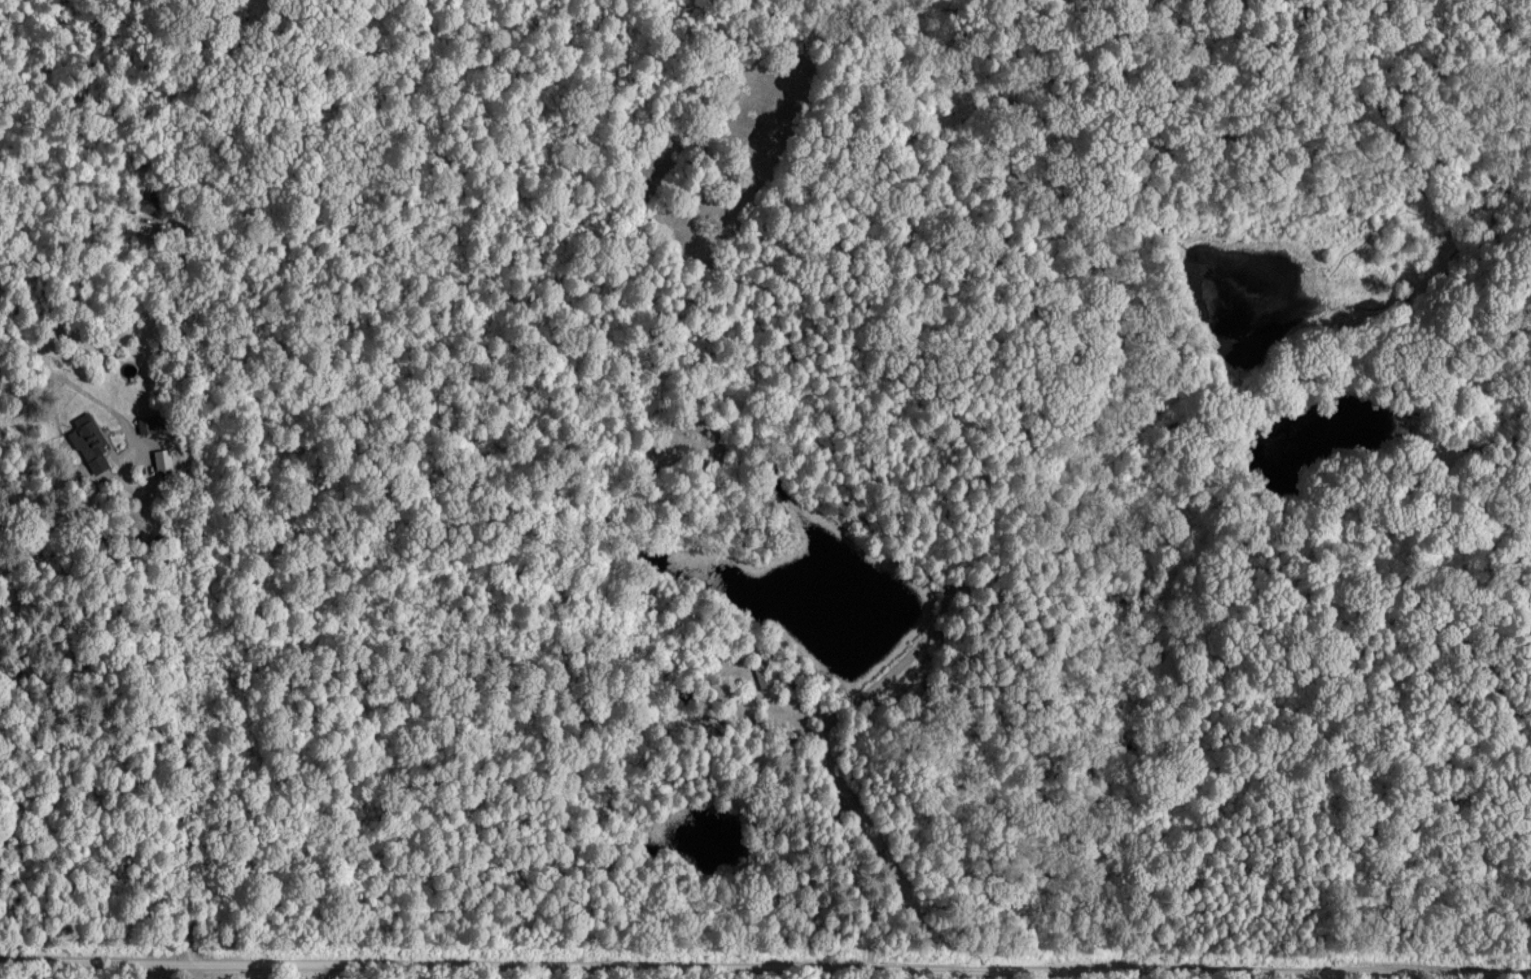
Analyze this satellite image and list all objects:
building: (89, 443)
building: (162, 459)
road: (182, 593)
road: (765, 964)

